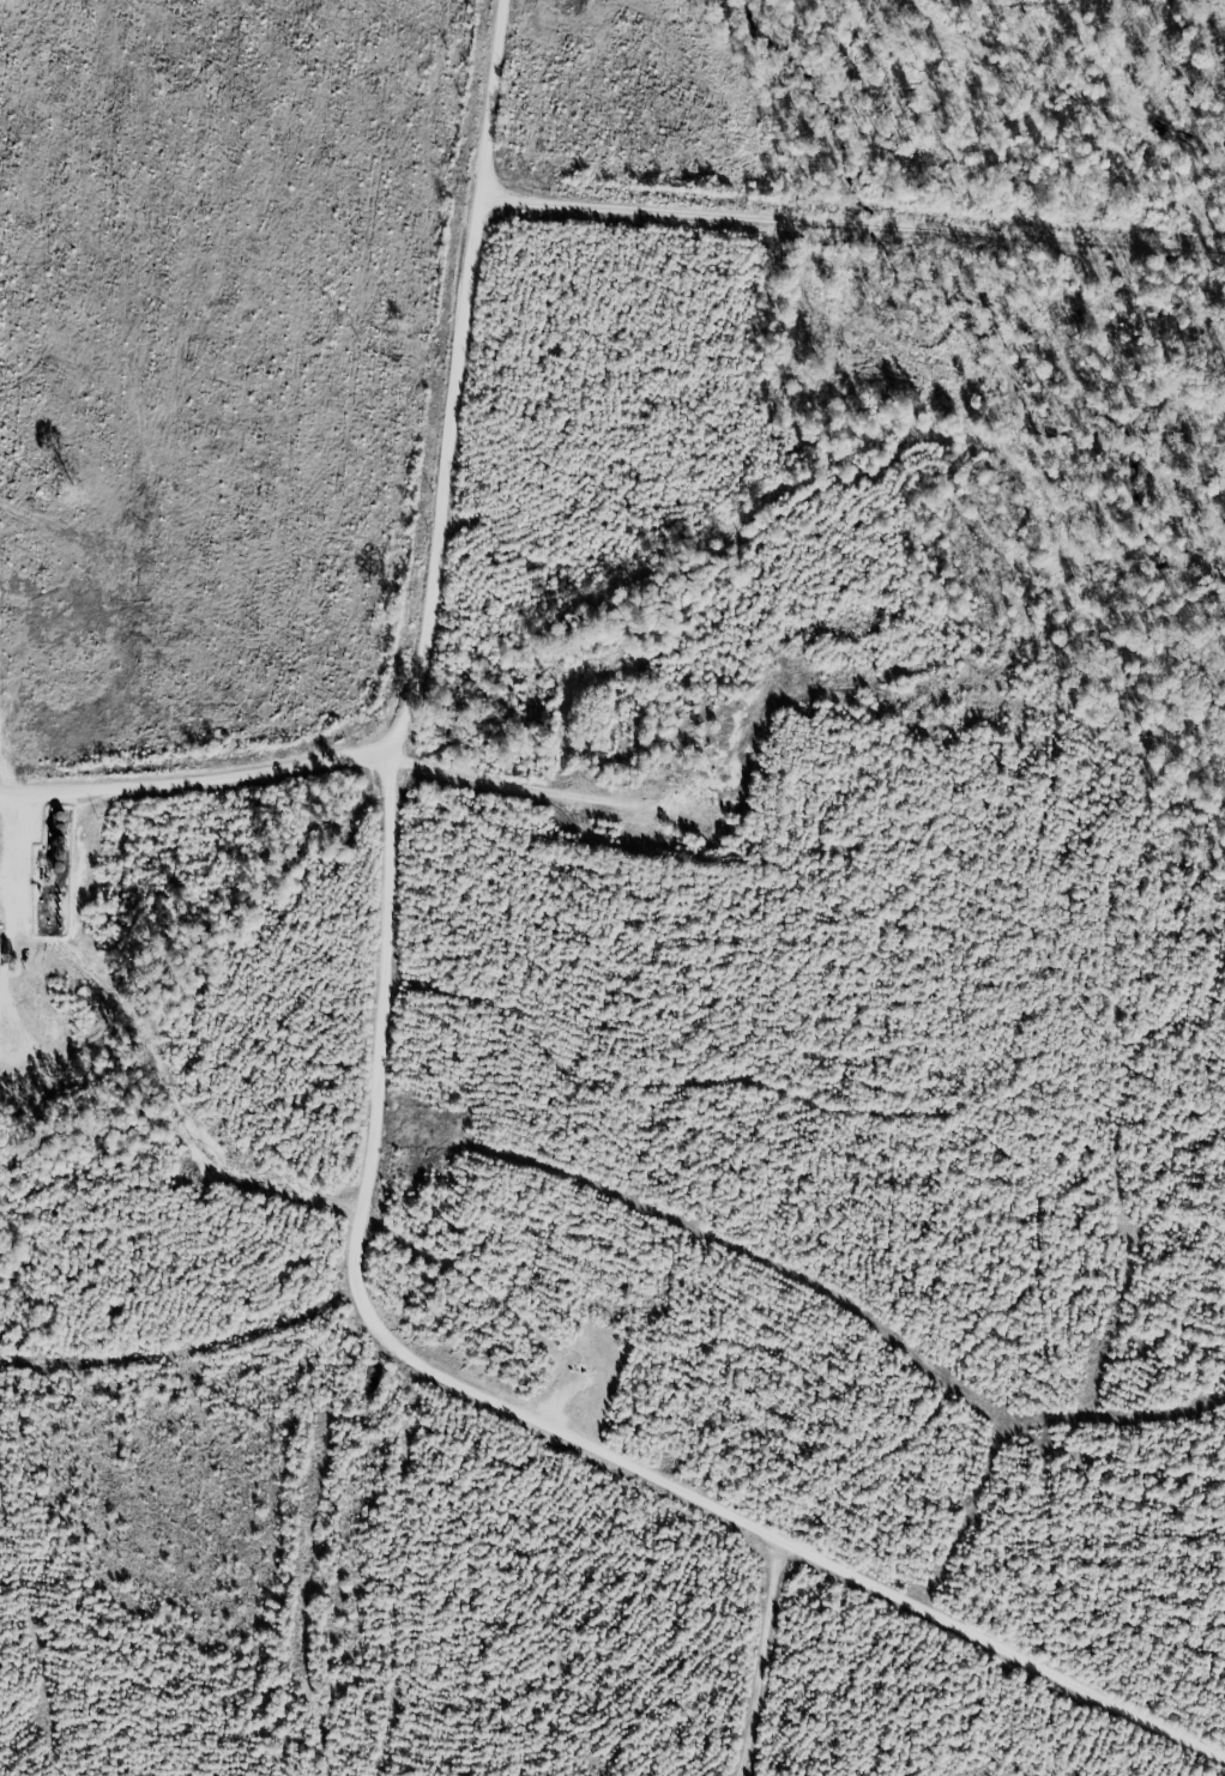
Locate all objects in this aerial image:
road: (849, 216)
road: (193, 775)
road: (372, 1141)
road: (752, 1659)

